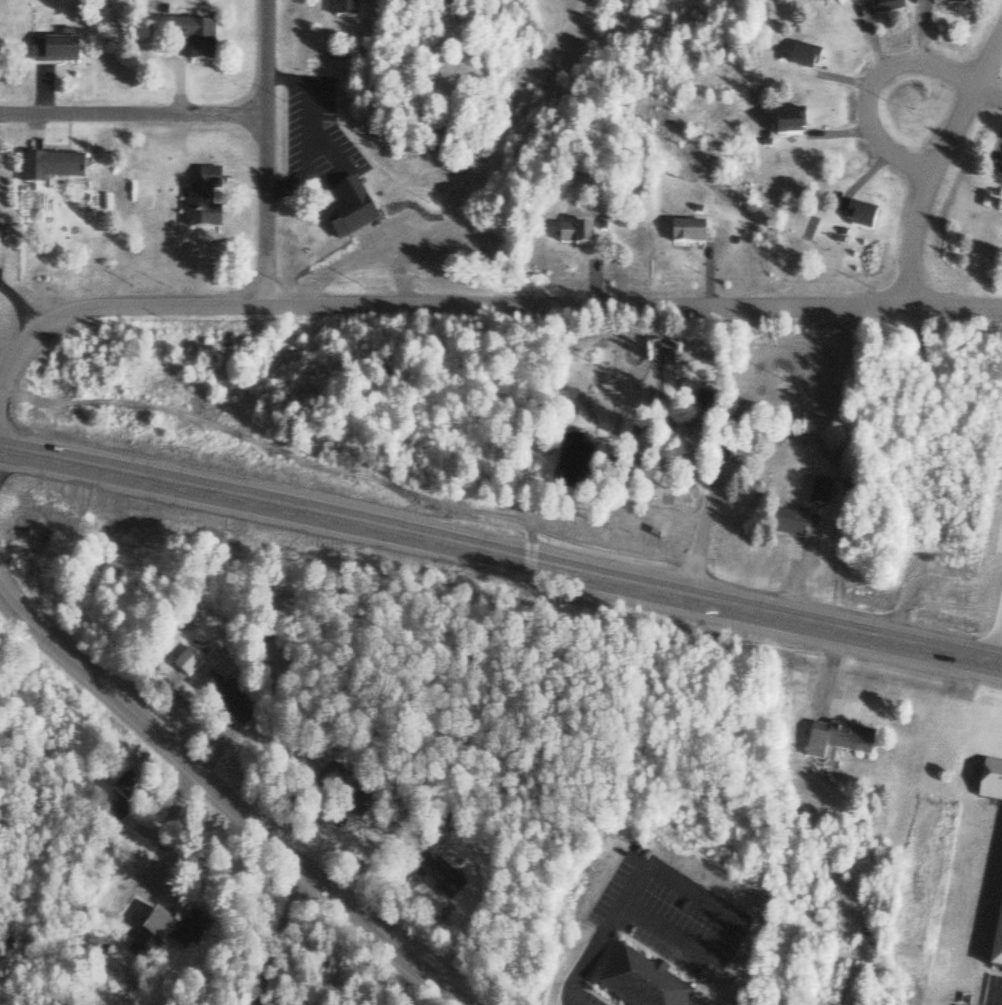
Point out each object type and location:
building: (949, 4)
building: (885, 8)
building: (351, 10)
road: (584, 10)
road: (607, 10)
building: (194, 39)
building: (61, 52)
building: (801, 61)
road: (869, 91)
road: (989, 95)
road: (133, 113)
building: (785, 128)
road: (267, 151)
road: (527, 165)
road: (934, 168)
building: (59, 169)
building: (999, 172)
building: (213, 200)
building: (359, 212)
building: (859, 219)
building: (5, 234)
building: (684, 235)
building: (571, 238)
road: (479, 305)
road: (21, 306)
road: (496, 520)
road: (336, 523)
building: (786, 525)
road: (837, 632)
building: (220, 699)
building: (835, 744)
building: (989, 782)
building: (124, 793)
road: (225, 801)
building: (440, 879)
building: (143, 923)
building: (996, 940)
road: (288, 942)
building: (637, 983)

